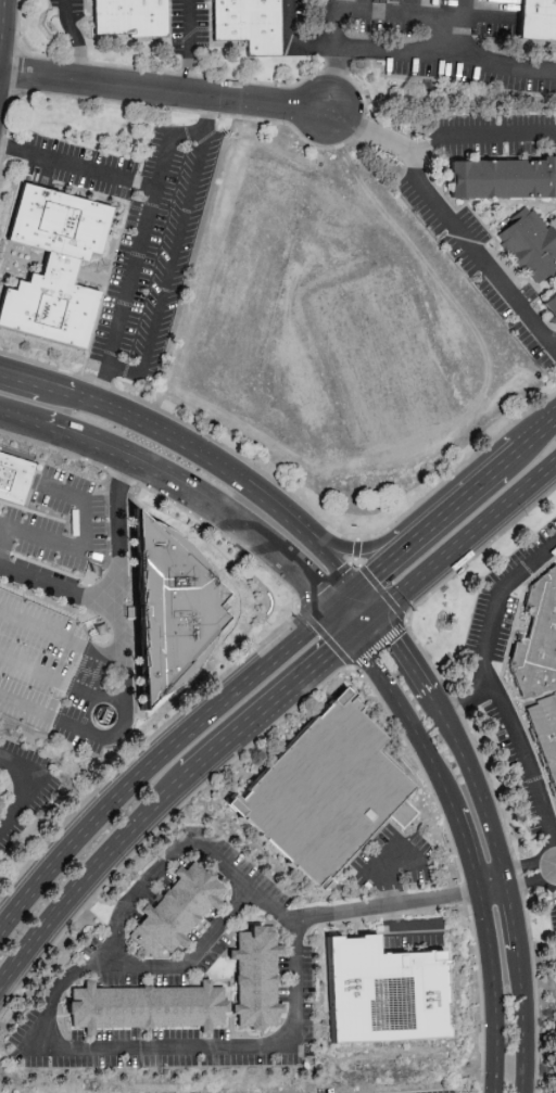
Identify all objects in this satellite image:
parking lot: (388, 2)
parking lot: (52, 3)
parking lot: (445, 4)
road: (362, 5)
road: (409, 7)
parking lot: (76, 9)
parking lot: (317, 11)
parking lot: (300, 13)
road: (396, 13)
building: (129, 18)
parking lot: (201, 24)
building: (248, 24)
road: (334, 24)
building: (539, 24)
parking lot: (176, 27)
parking lot: (379, 27)
road: (457, 29)
parking lot: (494, 30)
road: (75, 39)
road: (3, 42)
road: (292, 43)
road: (189, 47)
road: (415, 55)
parking lot: (468, 76)
road: (160, 91)
road: (363, 113)
road: (361, 125)
road: (469, 161)
road: (77, 166)
road: (442, 180)
building: (504, 187)
road: (421, 190)
road: (518, 209)
parking lot: (493, 216)
road: (140, 233)
road: (498, 245)
building: (532, 249)
building: (53, 265)
road: (167, 269)
road: (551, 296)
building: (552, 314)
road: (27, 379)
road: (21, 416)
road: (538, 436)
road: (199, 450)
road: (509, 460)
building: (11, 478)
road: (200, 493)
road: (292, 498)
road: (459, 503)
parking lot: (56, 523)
road: (470, 542)
road: (7, 546)
road: (372, 546)
road: (88, 548)
road: (392, 559)
road: (345, 563)
road: (116, 582)
road: (372, 582)
traffic signals: (364, 583)
road: (347, 594)
road: (374, 598)
traffic signals: (332, 605)
parking lot: (39, 613)
traffic signals: (384, 613)
building: (165, 614)
road: (345, 620)
road: (371, 624)
road: (494, 630)
road: (275, 631)
road: (325, 636)
traffic signals: (358, 636)
building: (539, 648)
road: (87, 649)
road: (408, 653)
parking lot: (51, 657)
road: (124, 676)
parking lot: (33, 688)
road: (275, 706)
road: (126, 715)
parking lot: (49, 728)
building: (546, 741)
road: (471, 750)
road: (156, 759)
road: (528, 768)
road: (477, 783)
road: (33, 785)
building: (328, 792)
building: (2, 804)
road: (472, 850)
road: (156, 862)
road: (531, 874)
road: (91, 876)
road: (495, 881)
road: (392, 907)
building: (173, 908)
road: (514, 911)
building: (377, 993)
building: (139, 1007)
road: (522, 1018)
road: (142, 1047)

